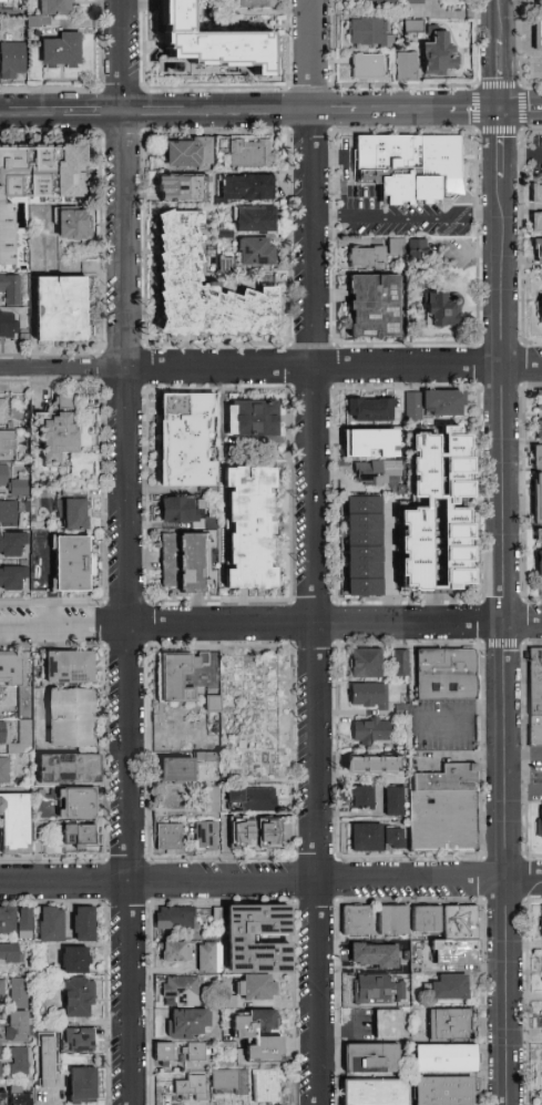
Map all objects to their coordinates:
building: (371, 2)
building: (416, 2)
building: (256, 3)
building: (7, 4)
building: (415, 10)
building: (51, 11)
building: (539, 28)
building: (413, 30)
building: (368, 33)
building: (209, 41)
road: (524, 44)
building: (441, 47)
building: (61, 49)
building: (11, 59)
building: (367, 65)
building: (406, 66)
road: (216, 108)
road: (279, 108)
road: (334, 108)
road: (401, 108)
road: (31, 109)
road: (94, 109)
road: (155, 109)
road: (473, 109)
road: (521, 109)
road: (475, 131)
building: (190, 152)
building: (252, 153)
road: (538, 154)
road: (331, 155)
building: (415, 163)
building: (37, 183)
building: (182, 187)
building: (248, 187)
building: (536, 194)
road: (406, 216)
building: (255, 219)
building: (535, 223)
building: (74, 225)
building: (417, 246)
building: (396, 247)
building: (538, 249)
building: (256, 252)
building: (366, 257)
building: (203, 287)
building: (10, 289)
building: (436, 305)
building: (374, 306)
building: (540, 307)
building: (61, 310)
building: (8, 326)
road: (521, 365)
road: (249, 367)
building: (539, 400)
building: (434, 407)
building: (2, 411)
building: (369, 412)
building: (252, 418)
building: (539, 429)
building: (58, 433)
building: (185, 440)
building: (7, 444)
building: (372, 456)
building: (541, 481)
building: (13, 482)
building: (76, 510)
building: (180, 511)
building: (8, 513)
building: (438, 516)
building: (249, 526)
building: (12, 543)
building: (362, 546)
building: (540, 551)
road: (126, 552)
road: (314, 552)
road: (501, 552)
building: (183, 562)
building: (71, 564)
building: (12, 579)
road: (50, 580)
road: (521, 622)
road: (249, 624)
building: (400, 663)
building: (366, 664)
building: (69, 667)
building: (178, 675)
building: (446, 675)
building: (16, 676)
building: (536, 682)
building: (368, 695)
building: (213, 705)
road: (459, 716)
building: (71, 717)
building: (371, 729)
building: (4, 734)
building: (534, 734)
building: (25, 736)
road: (522, 758)
building: (371, 764)
building: (4, 768)
building: (68, 768)
building: (182, 768)
building: (450, 778)
road: (522, 792)
building: (253, 798)
building: (360, 798)
building: (209, 799)
building: (393, 801)
building: (76, 802)
building: (444, 821)
building: (539, 822)
building: (16, 823)
building: (243, 833)
building: (268, 833)
building: (79, 836)
building: (205, 836)
building: (366, 837)
building: (393, 837)
building: (167, 838)
road: (523, 878)
road: (252, 879)
building: (175, 918)
building: (426, 919)
building: (356, 921)
building: (392, 921)
building: (16, 922)
building: (462, 922)
building: (83, 923)
building: (50, 924)
building: (239, 939)
building: (11, 952)
building: (174, 952)
building: (460, 953)
building: (372, 955)
building: (208, 958)
building: (75, 960)
building: (449, 986)
building: (255, 988)
building: (372, 989)
building: (1, 990)
building: (19, 991)
building: (180, 991)
building: (79, 997)
building: (257, 1020)
building: (185, 1023)
building: (388, 1024)
building: (448, 1024)
building: (16, 1027)
road: (348, 1036)
building: (79, 1040)
building: (194, 1052)
building: (164, 1053)
building: (370, 1057)
building: (444, 1057)
building: (0, 1060)
building: (20, 1061)
building: (47, 1062)
building: (195, 1063)
building: (229, 1082)
building: (82, 1085)
building: (266, 1086)
building: (165, 1087)
building: (190, 1087)
building: (443, 1091)
building: (375, 1092)
building: (2, 1095)
building: (20, 1096)

